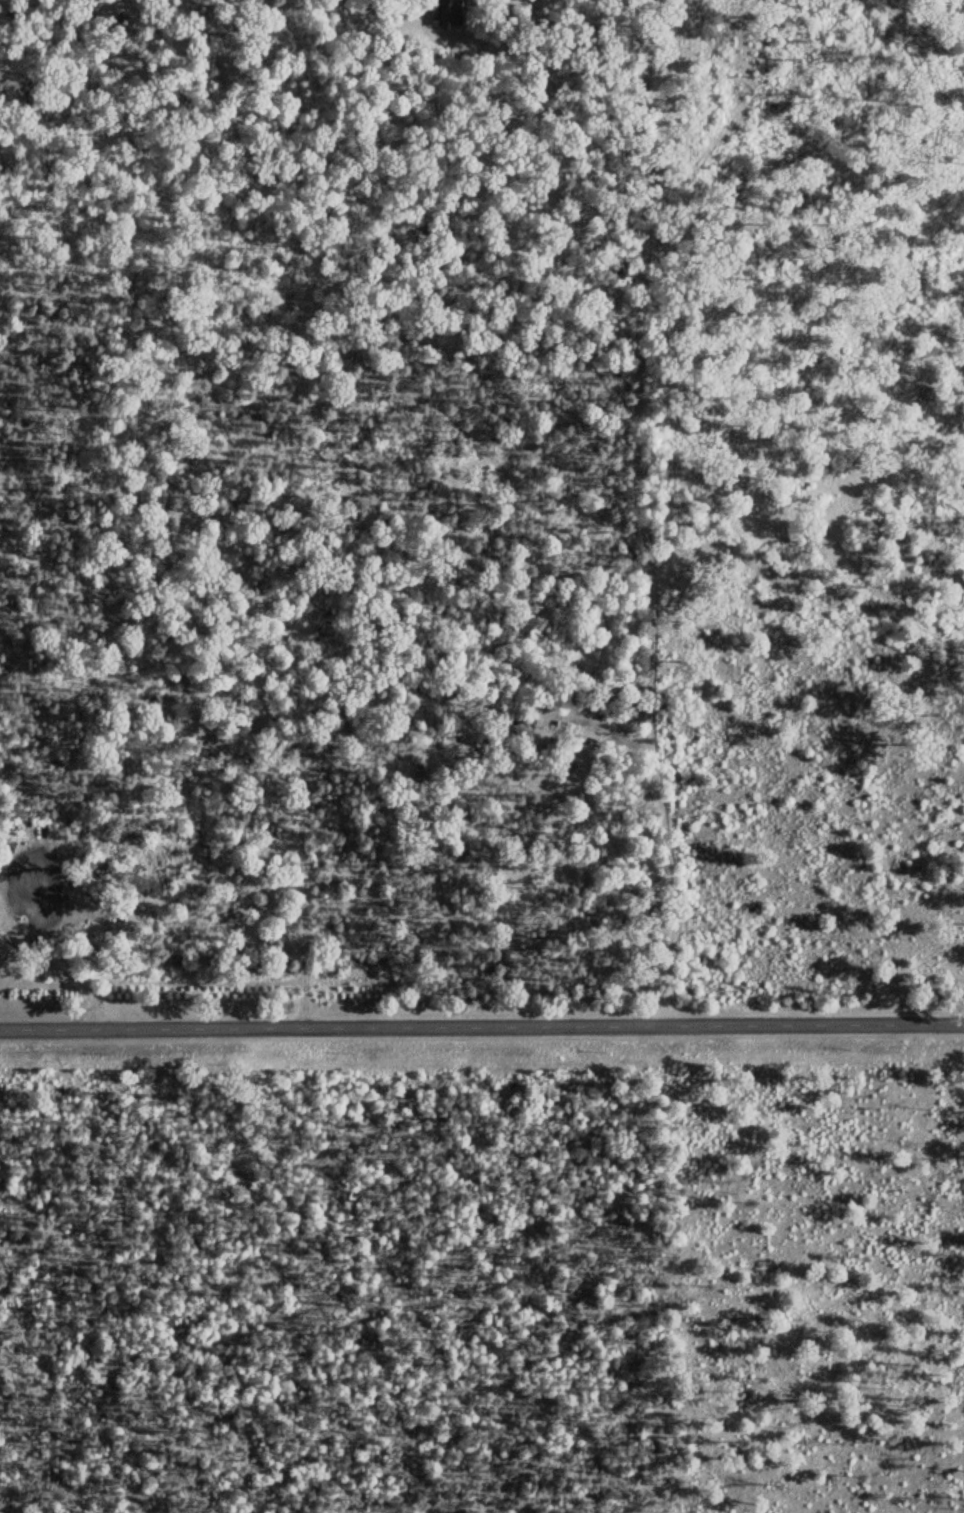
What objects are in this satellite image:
road: (367, 509)
road: (481, 1018)

